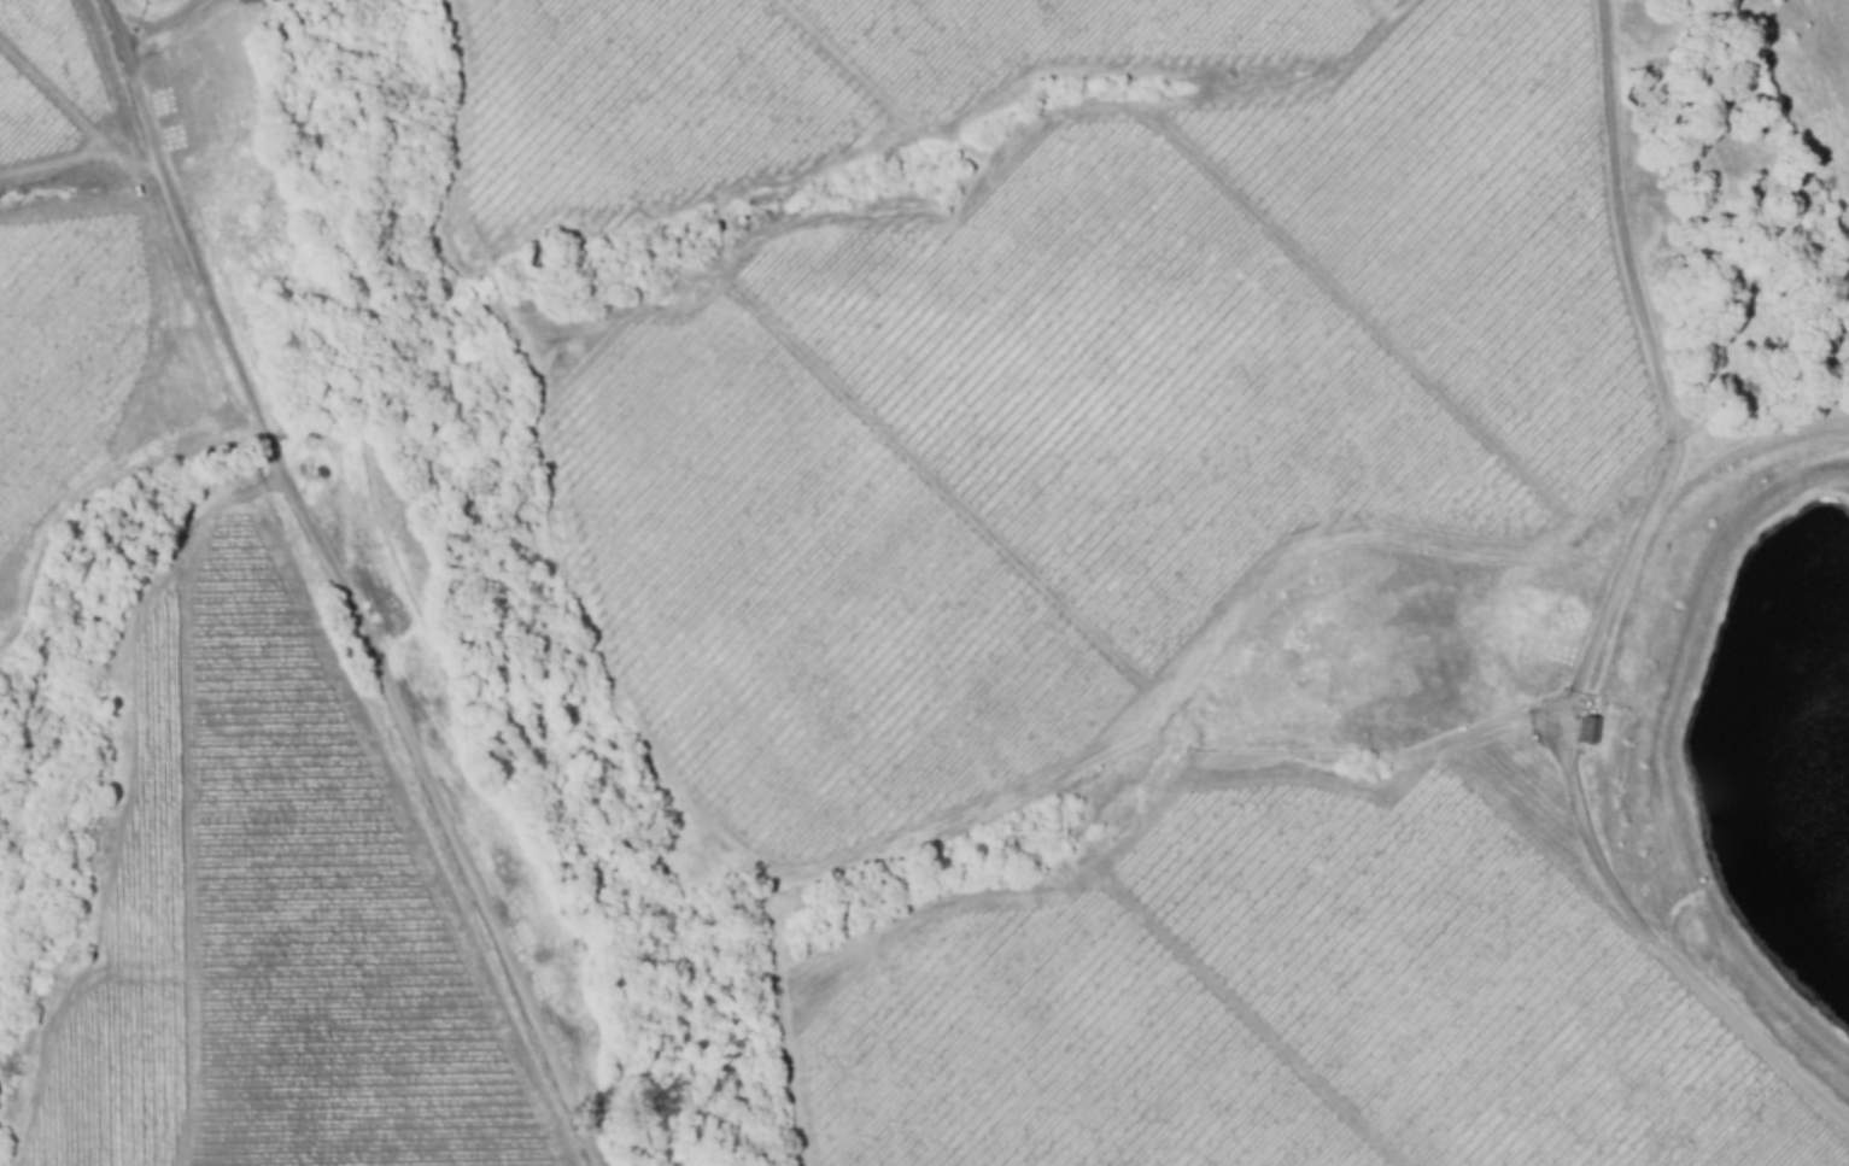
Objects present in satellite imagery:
crop: (1391, 1)
crop: (1060, 35)
crop: (59, 43)
crop: (644, 99)
crop: (31, 117)
crop: (1470, 219)
crop: (64, 348)
crop: (1131, 379)
road: (341, 588)
crop: (808, 594)
crop: (150, 819)
crop: (317, 924)
crop: (1462, 983)
crop: (1055, 1055)
crop: (110, 1084)

